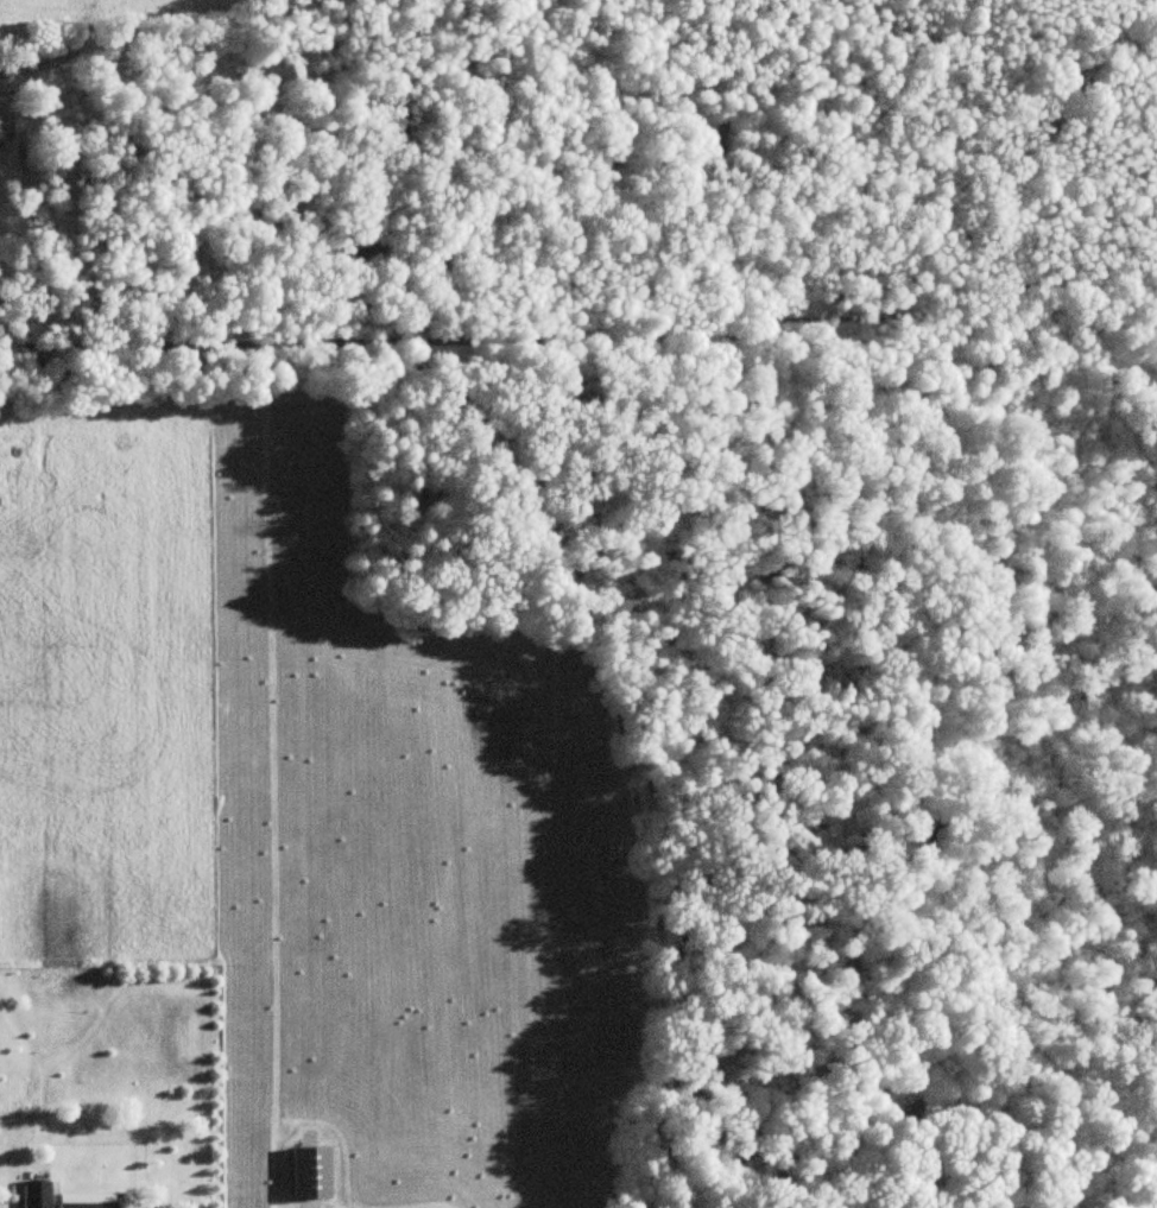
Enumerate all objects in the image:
building: (308, 1172)
building: (33, 1194)
building: (84, 1200)

